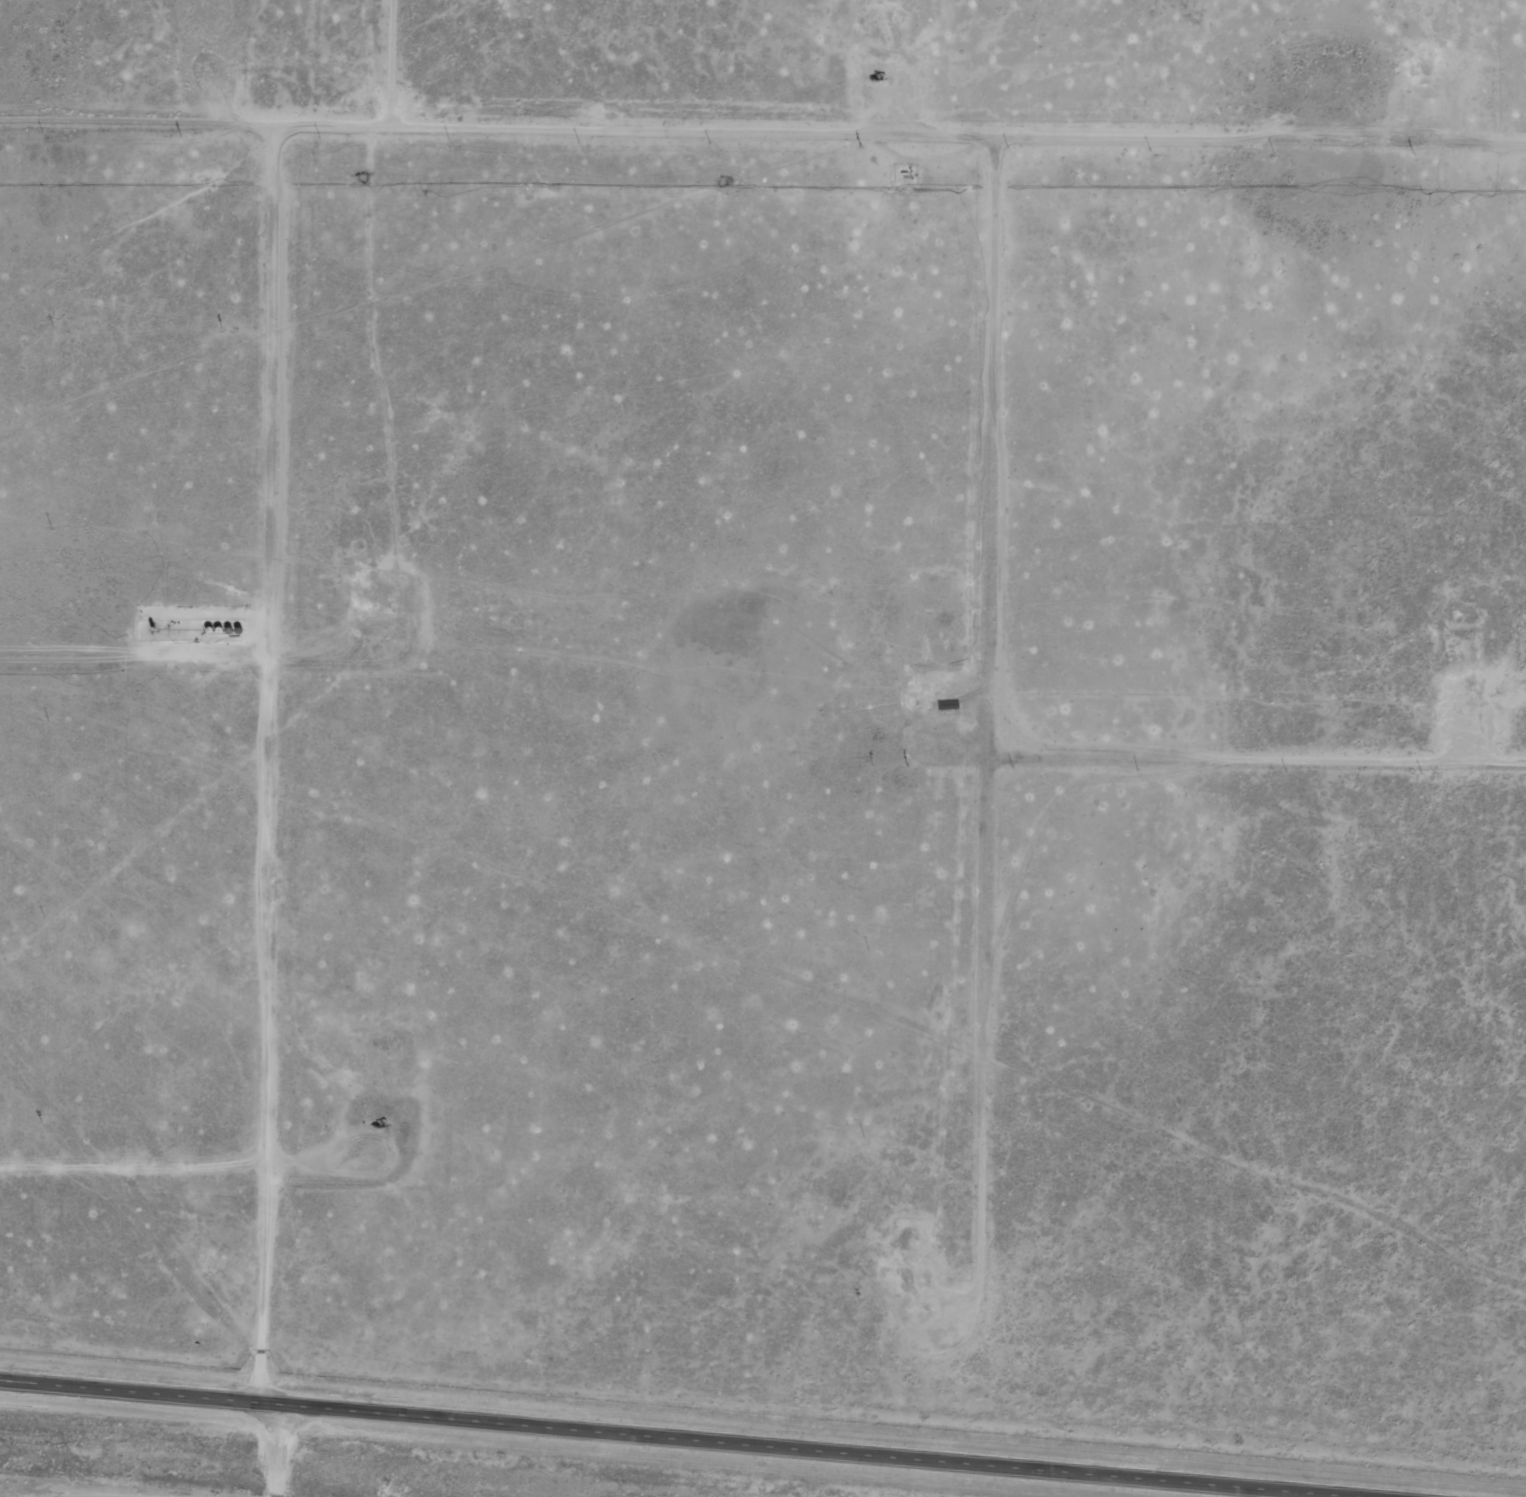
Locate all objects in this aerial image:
road: (762, 181)
road: (771, 1008)
road: (150, 1228)
road: (700, 1434)
road: (289, 1445)

